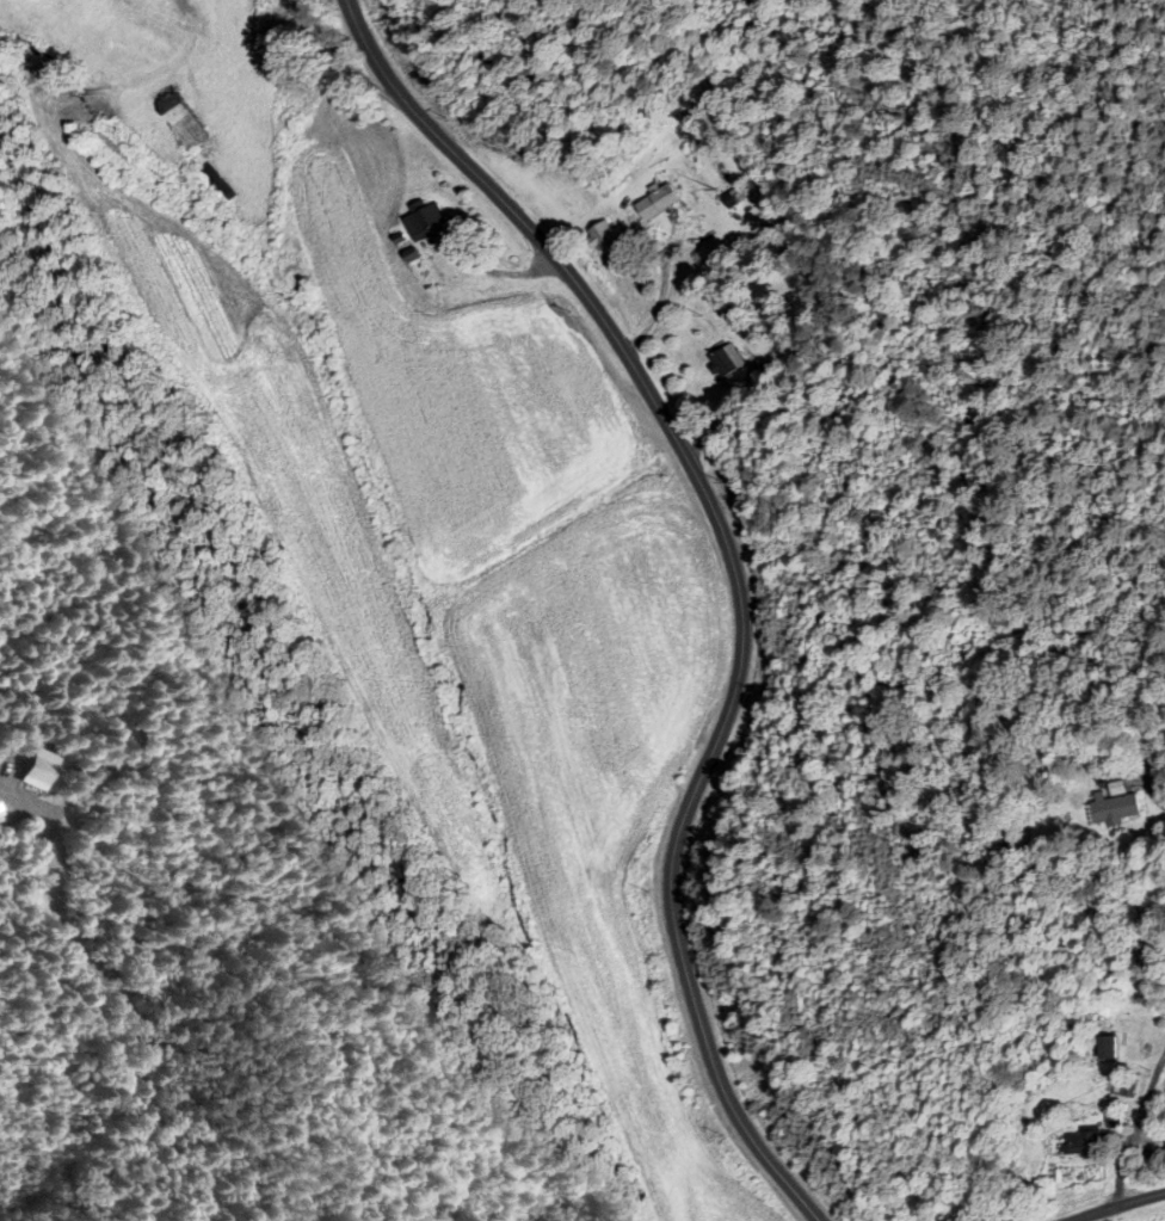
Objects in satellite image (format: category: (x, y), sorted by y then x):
building: (179, 119)
building: (215, 184)
building: (655, 203)
building: (423, 222)
building: (604, 239)
building: (725, 362)
road: (729, 574)
road: (1152, 797)
building: (1114, 809)
road: (125, 1013)
road: (1130, 1129)
building: (1078, 1147)
road: (1117, 1205)

